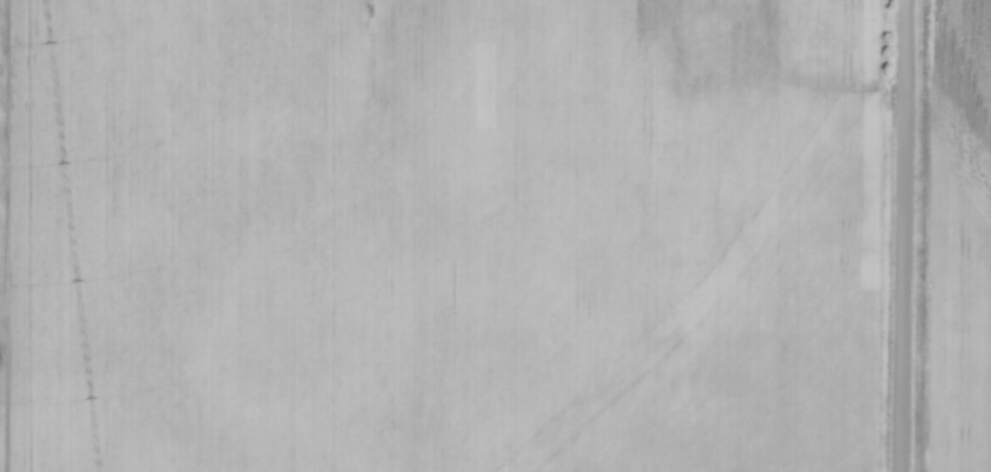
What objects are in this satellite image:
road: (904, 236)

